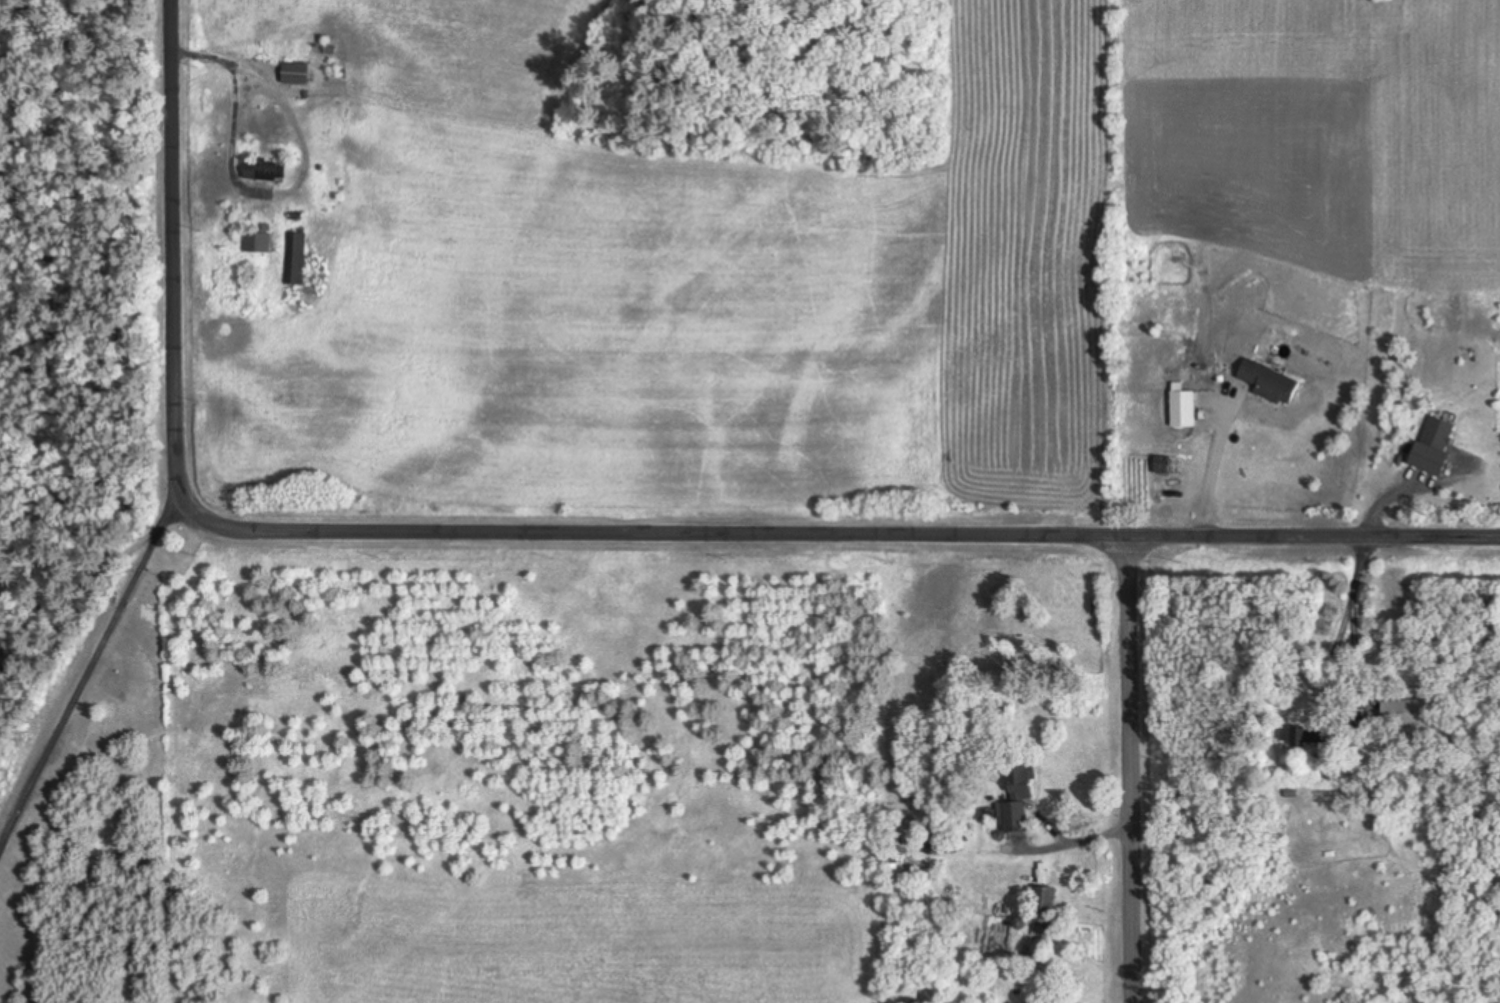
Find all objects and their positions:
building: (292, 74)
building: (262, 170)
building: (254, 242)
road: (185, 251)
building: (292, 258)
building: (1266, 383)
building: (1180, 409)
building: (1434, 435)
road: (54, 492)
road: (844, 532)
road: (93, 550)
building: (202, 563)
building: (1403, 713)
building: (1301, 737)
road: (1131, 769)
building: (1019, 779)
building: (1010, 817)
building: (932, 845)
building: (1041, 906)

